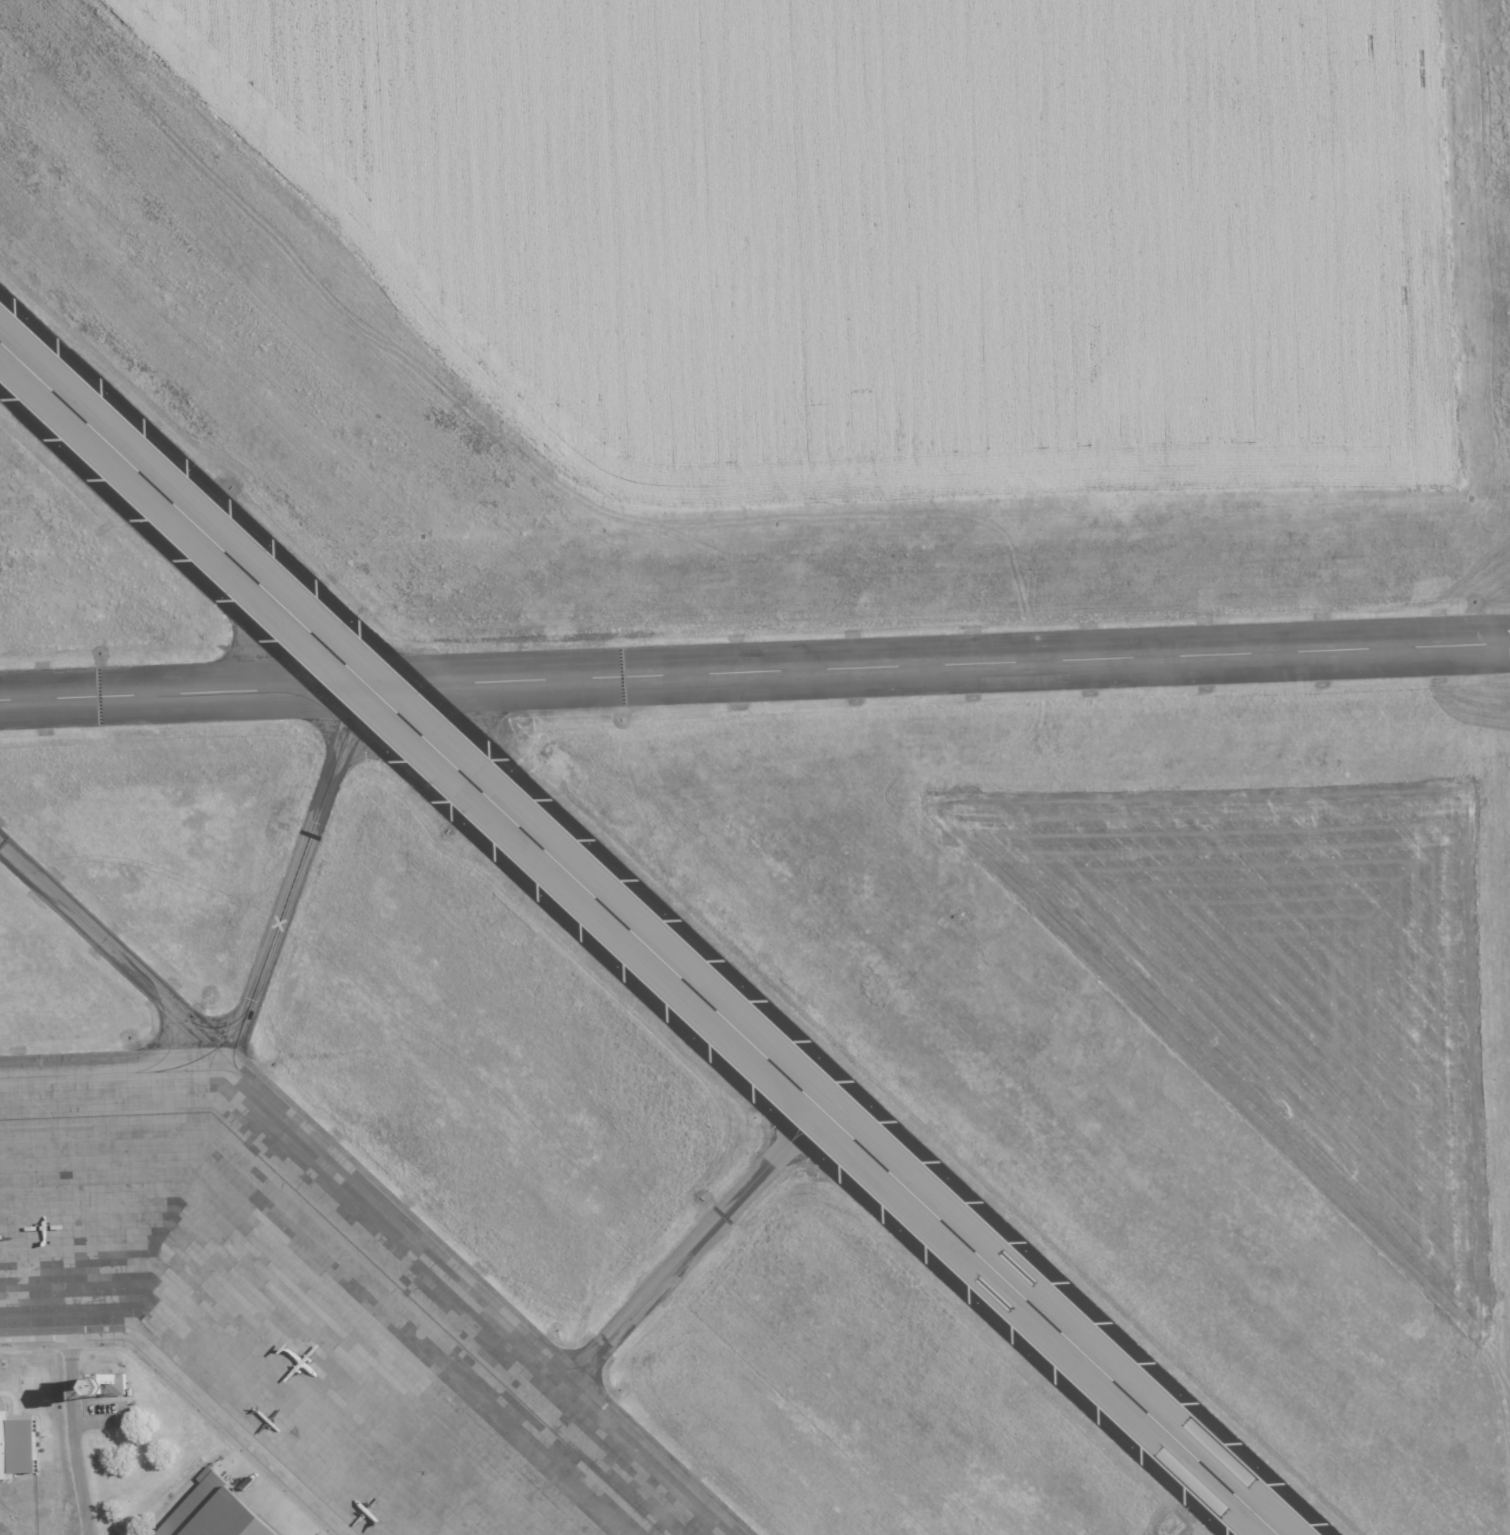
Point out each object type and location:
airport runway: (755, 673)
airport: (755, 767)
airport taxiway: (294, 881)
airport runway: (637, 939)
airport taxiway: (167, 1000)
airport taxiway: (206, 1026)
airport taxiway: (195, 1059)
airport taxiway: (200, 1069)
airport taxiway: (698, 1241)
airport taxiway: (461, 1277)
airport apron: (301, 1303)
airport taxiway: (569, 1367)
building: (114, 1385)
parking lot: (106, 1418)
airport hangar: (17, 1443)
building: (17, 1443)
road: (268, 1499)
building: (222, 1511)

